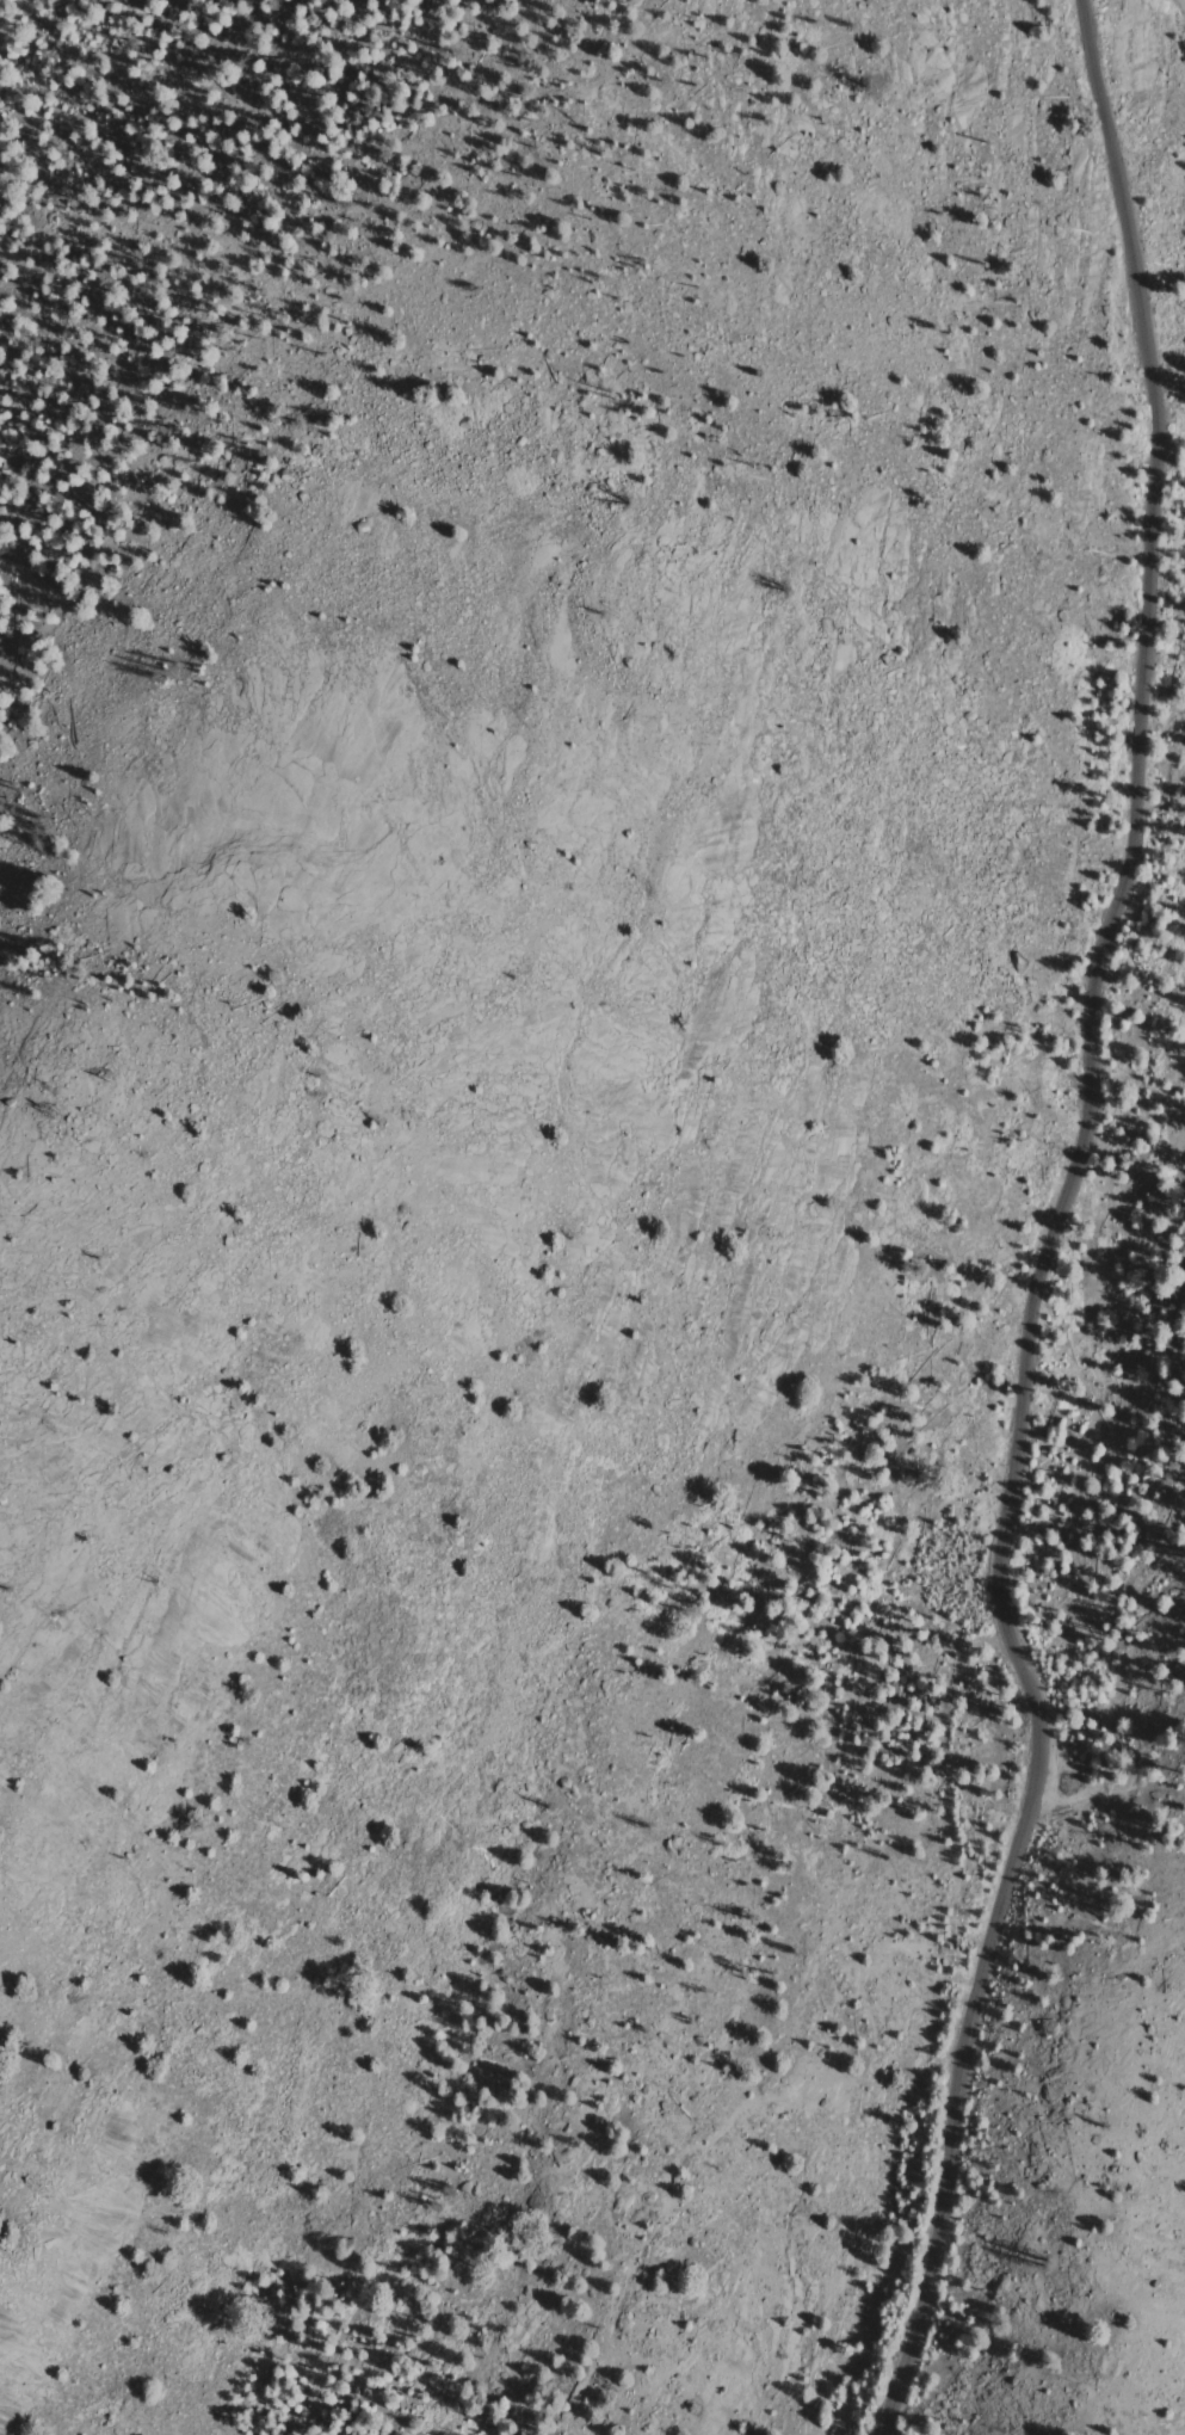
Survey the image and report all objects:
road: (1184, 1)
road: (1142, 775)
road: (977, 1986)

